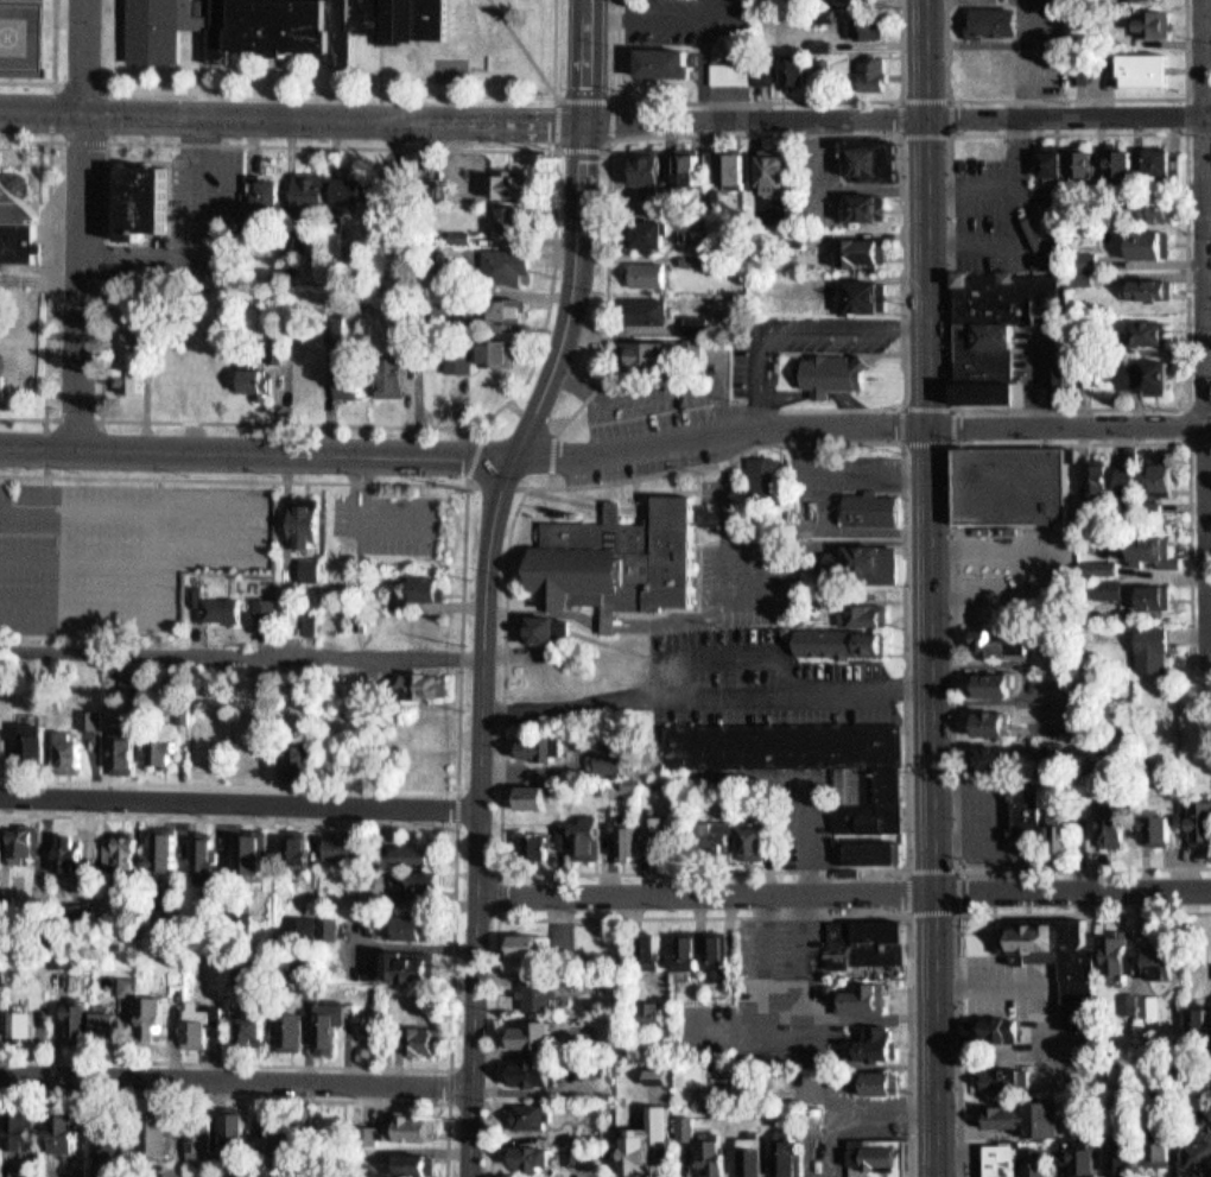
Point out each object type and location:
building: (993, 18)
building: (279, 23)
building: (1153, 25)
helipad: (4, 27)
building: (866, 27)
building: (820, 45)
road: (522, 48)
road: (199, 58)
building: (662, 62)
road: (378, 67)
road: (52, 68)
park: (446, 68)
building: (741, 69)
building: (839, 69)
road: (274, 70)
building: (793, 71)
building: (1141, 71)
building: (873, 72)
building: (1079, 74)
road: (376, 90)
road: (1061, 96)
road: (753, 99)
road: (1177, 110)
traffic signals: (583, 120)
road: (605, 120)
road: (804, 132)
road: (951, 133)
road: (100, 141)
road: (605, 145)
building: (1048, 158)
building: (871, 160)
building: (1156, 160)
building: (1082, 162)
building: (1116, 163)
building: (685, 165)
building: (649, 166)
building: (729, 166)
building: (771, 170)
building: (509, 185)
building: (391, 188)
building: (311, 190)
building: (355, 190)
building: (270, 192)
building: (862, 204)
building: (1153, 204)
parking lot: (201, 209)
parking lot: (1003, 211)
building: (134, 219)
building: (513, 221)
road: (77, 224)
building: (253, 226)
building: (643, 229)
building: (17, 230)
road: (577, 234)
building: (692, 236)
building: (1147, 242)
building: (855, 252)
building: (689, 258)
building: (1110, 259)
building: (1085, 260)
building: (506, 266)
building: (641, 272)
road: (45, 277)
building: (1147, 287)
building: (862, 293)
building: (507, 308)
building: (639, 308)
building: (691, 323)
road: (1196, 327)
building: (997, 330)
building: (1148, 331)
building: (495, 353)
building: (642, 353)
building: (457, 356)
building: (214, 368)
building: (829, 371)
building: (394, 373)
building: (1059, 373)
building: (1145, 373)
building: (304, 374)
building: (345, 375)
building: (253, 378)
building: (2, 386)
building: (126, 386)
road: (512, 391)
road: (1177, 398)
road: (950, 406)
road: (1178, 416)
road: (43, 418)
road: (552, 426)
road: (605, 447)
building: (763, 472)
building: (1167, 475)
building: (1131, 477)
road: (467, 480)
road: (634, 483)
building: (1102, 483)
building: (1013, 487)
road: (587, 502)
road: (545, 506)
building: (870, 508)
building: (616, 510)
building: (307, 521)
parking lot: (122, 552)
building: (1159, 552)
building: (616, 561)
building: (863, 561)
building: (300, 569)
road: (1210, 577)
road: (928, 588)
road: (955, 595)
building: (1159, 597)
building: (418, 605)
building: (222, 609)
building: (264, 610)
building: (797, 613)
building: (392, 615)
building: (332, 620)
building: (256, 625)
building: (855, 628)
building: (549, 631)
building: (324, 633)
road: (461, 633)
building: (302, 638)
building: (1006, 643)
building: (540, 645)
building: (1158, 648)
building: (987, 658)
building: (835, 659)
road: (240, 666)
building: (424, 683)
building: (133, 684)
building: (996, 685)
building: (121, 697)
building: (988, 698)
building: (419, 701)
building: (91, 719)
building: (994, 724)
building: (988, 739)
building: (38, 741)
building: (5, 745)
building: (87, 745)
building: (784, 745)
building: (125, 746)
building: (540, 746)
building: (164, 748)
building: (72, 749)
building: (26, 757)
building: (304, 759)
building: (611, 759)
building: (998, 759)
building: (115, 760)
building: (59, 761)
building: (532, 762)
building: (1104, 772)
building: (988, 773)
building: (601, 776)
building: (533, 796)
road: (239, 804)
building: (1033, 808)
road: (455, 809)
building: (879, 809)
building: (524, 812)
road: (476, 815)
building: (1204, 824)
building: (1117, 825)
building: (660, 830)
building: (1162, 830)
building: (722, 834)
building: (565, 835)
building: (589, 835)
building: (628, 840)
building: (647, 840)
building: (759, 841)
building: (25, 842)
building: (539, 843)
building: (0, 844)
building: (342, 844)
building: (298, 846)
building: (705, 848)
building: (166, 849)
building: (1061, 849)
building: (71, 850)
building: (557, 850)
building: (620, 852)
building: (746, 852)
building: (867, 852)
building: (418, 853)
building: (578, 853)
building: (126, 856)
building: (331, 856)
building: (14, 858)
building: (205, 859)
building: (533, 860)
road: (907, 861)
building: (157, 865)
building: (245, 865)
building: (61, 866)
building: (287, 866)
building: (114, 867)
building: (194, 867)
building: (406, 871)
road: (497, 872)
building: (423, 882)
road: (843, 890)
building: (413, 897)
road: (957, 913)
building: (2, 915)
road: (704, 915)
road: (957, 918)
building: (414, 924)
building: (300, 926)
building: (69, 929)
building: (867, 941)
building: (291, 942)
building: (404, 942)
building: (531, 942)
building: (318, 944)
road: (450, 948)
building: (652, 950)
building: (691, 950)
building: (1121, 951)
building: (719, 955)
building: (1162, 956)
building: (522, 961)
building: (410, 962)
building: (680, 962)
building: (640, 963)
building: (708, 974)
building: (398, 976)
building: (564, 991)
building: (1080, 991)
building: (539, 993)
building: (860, 994)
building: (68, 998)
building: (122, 1001)
building: (655, 1008)
building: (531, 1011)
building: (152, 1014)
building: (247, 1018)
building: (1, 1019)
building: (108, 1020)
building: (1198, 1020)
building: (80, 1021)
building: (201, 1021)
building: (27, 1023)
building: (995, 1029)
building: (144, 1031)
building: (537, 1032)
building: (72, 1037)
building: (425, 1037)
building: (192, 1038)
building: (321, 1038)
building: (875, 1038)
building: (17, 1039)
building: (99, 1040)
building: (283, 1042)
building: (242, 1045)
building: (413, 1048)
building: (867, 1069)
building: (533, 1070)
building: (1007, 1078)
road: (450, 1080)
building: (525, 1088)
building: (651, 1088)
building: (871, 1089)
road: (234, 1093)
road: (252, 1109)
building: (531, 1114)
building: (1025, 1115)
building: (811, 1125)
building: (412, 1127)
building: (524, 1127)
building: (689, 1127)
building: (24, 1128)
building: (235, 1129)
building: (69, 1131)
building: (158, 1134)
building: (289, 1134)
building: (197, 1138)
building: (680, 1140)
building: (224, 1141)
building: (116, 1144)
building: (1165, 1144)
building: (12, 1145)
building: (386, 1146)
building: (56, 1148)
building: (640, 1150)
building: (147, 1151)
building: (274, 1151)
building: (1130, 1151)
building: (190, 1153)
building: (535, 1154)
building: (1086, 1156)
building: (104, 1157)
building: (1202, 1157)
building: (1000, 1160)
building: (1038, 1162)
building: (746, 1164)
building: (873, 1164)
building: (704, 1165)
building: (578, 1166)
building: (781, 1166)
building: (528, 1167)
building: (405, 1169)

